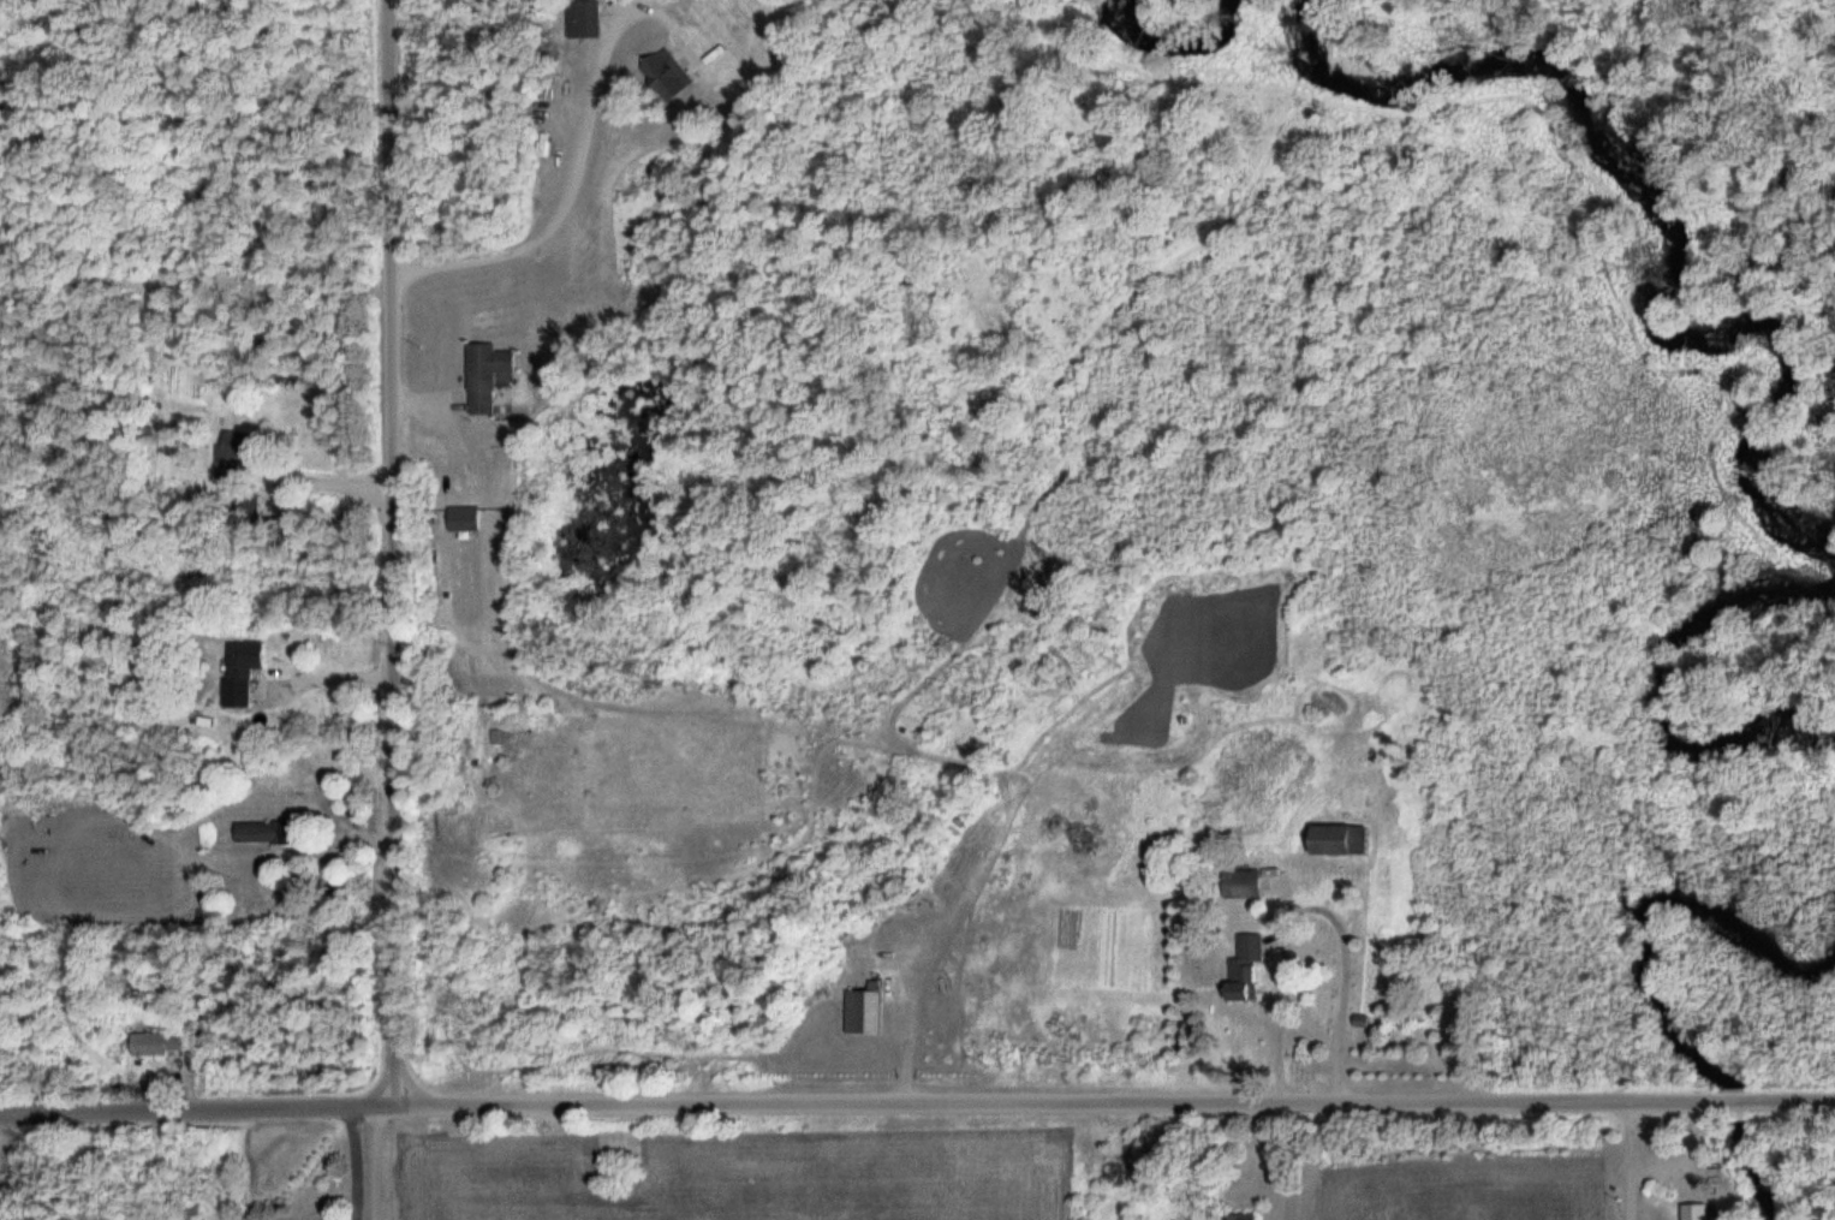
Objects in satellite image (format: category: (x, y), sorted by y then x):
building: (588, 19)
river: (1173, 40)
building: (665, 76)
river: (1661, 206)
building: (485, 376)
building: (233, 453)
road: (330, 478)
building: (246, 516)
road: (393, 548)
building: (240, 672)
river: (1661, 673)
building: (263, 832)
building: (1241, 883)
river: (1652, 903)
building: (1238, 990)
building: (153, 1046)
river: (1740, 1095)
road: (1108, 1096)
road: (191, 1101)
road: (376, 1157)
river: (1756, 1167)
building: (1698, 1212)
building: (1243, 1216)

